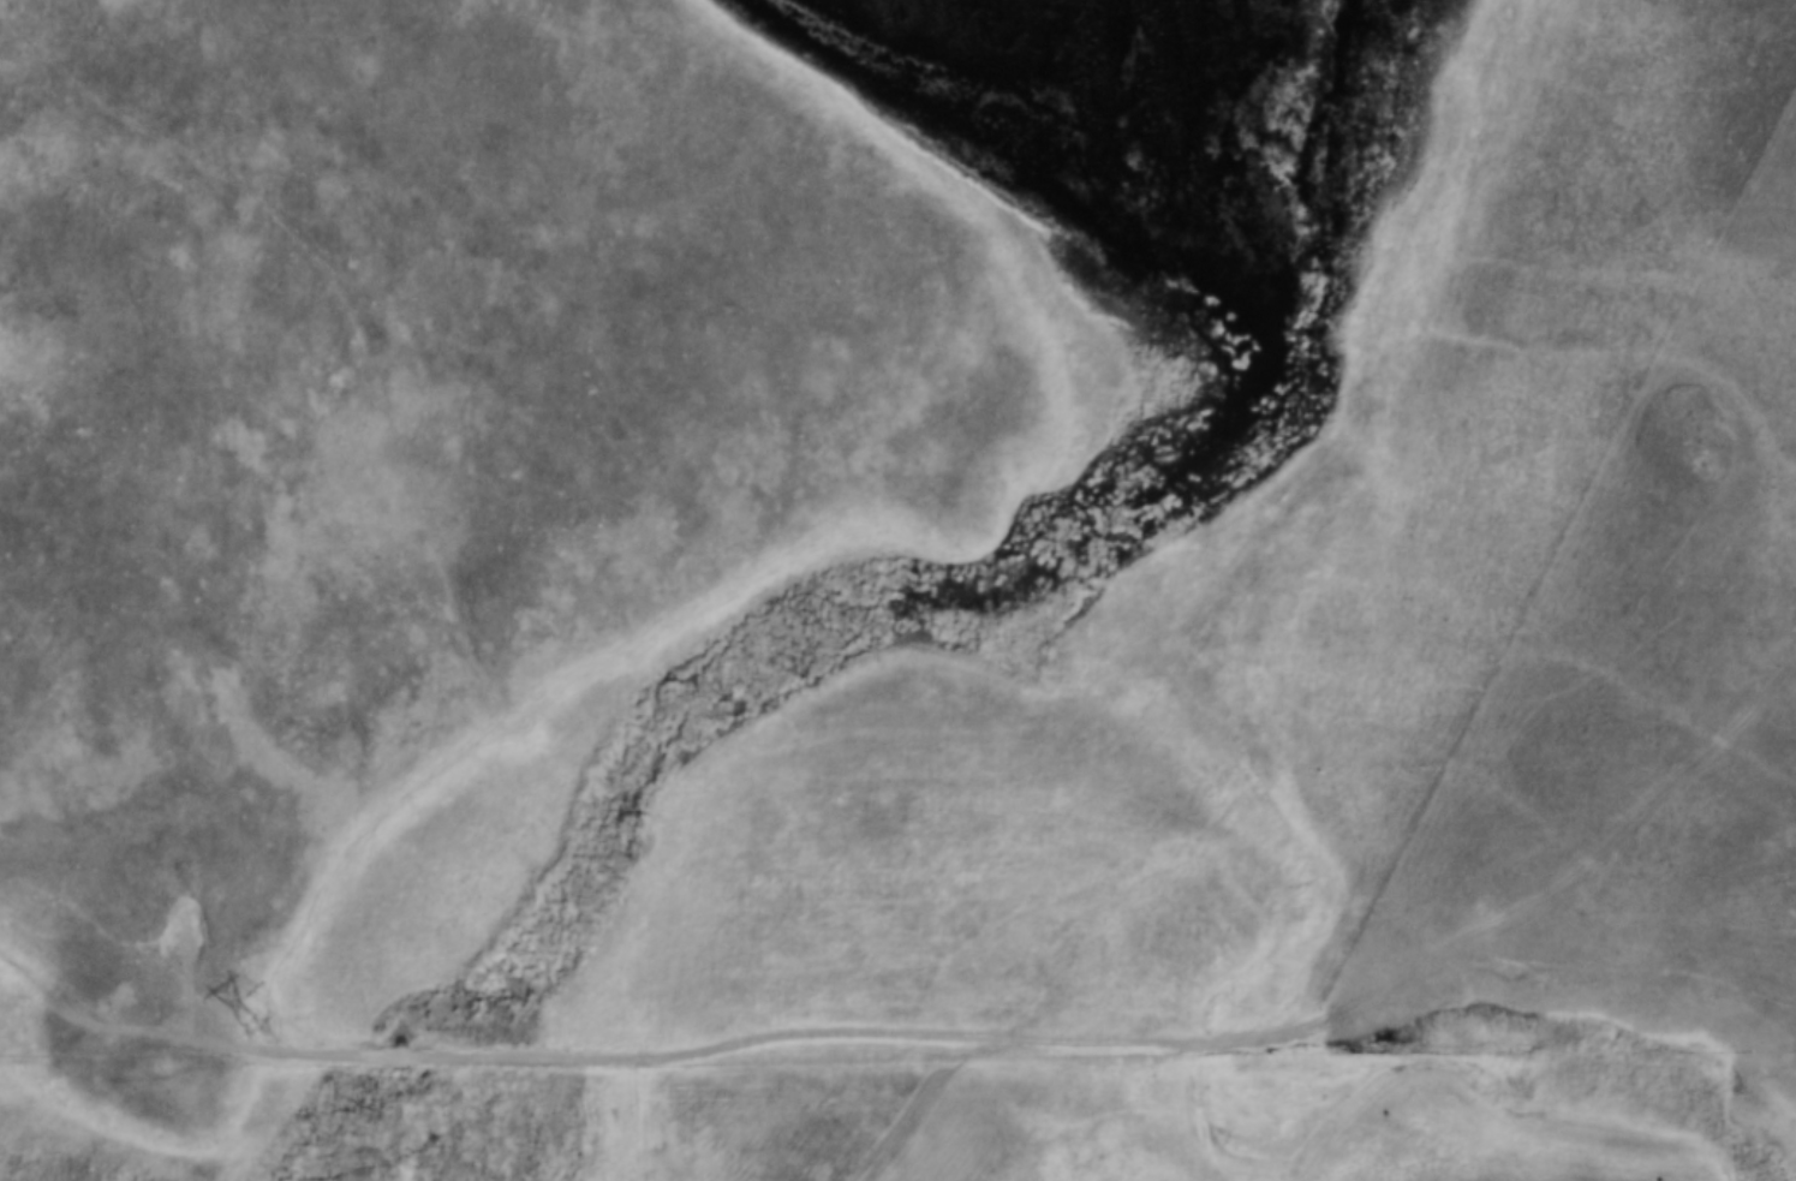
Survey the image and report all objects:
power tower: (256, 1032)
road: (897, 1050)
crop: (1132, 1122)

